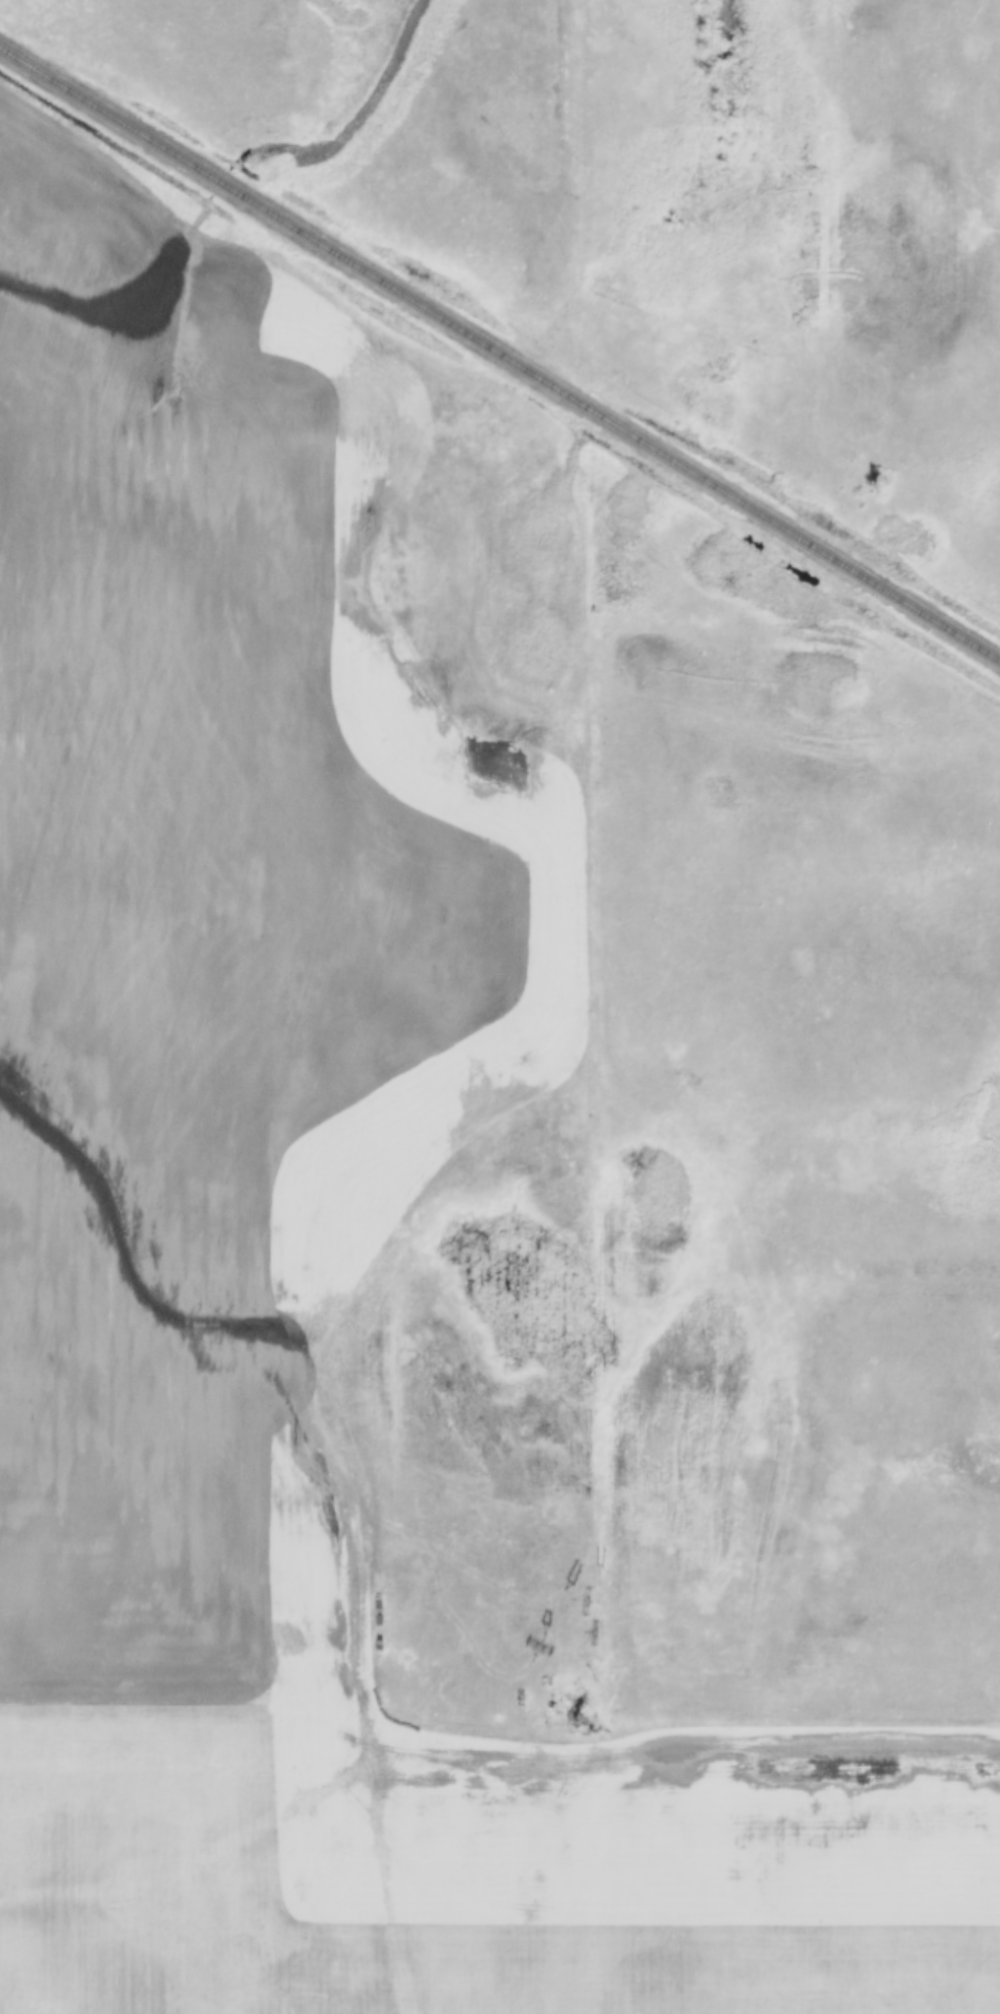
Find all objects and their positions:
railway: (500, 349)

